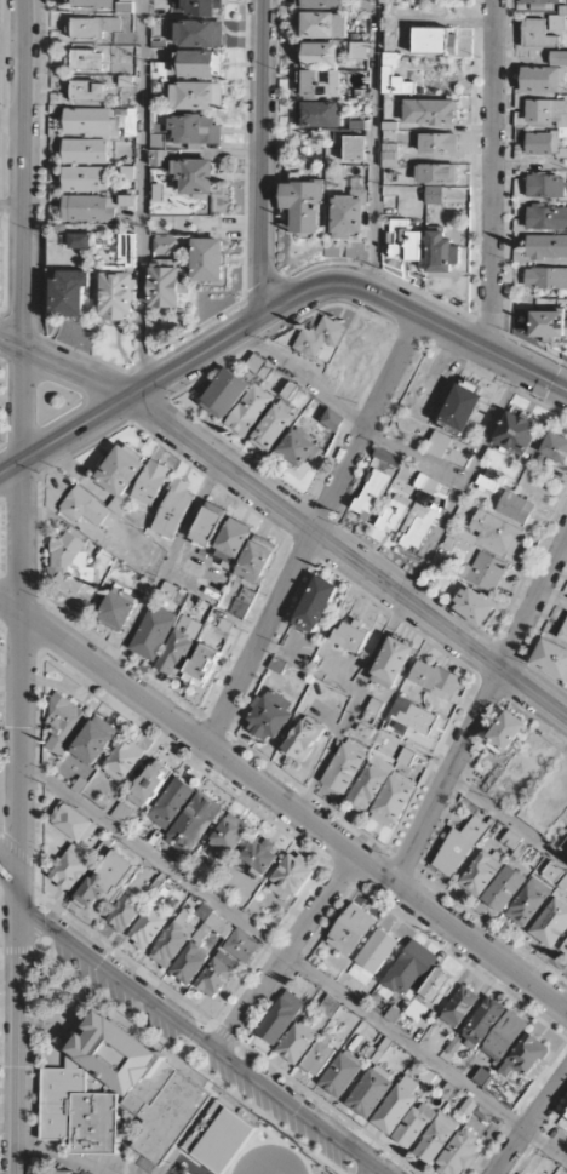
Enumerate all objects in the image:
building: (542, 1)
building: (319, 4)
building: (91, 5)
building: (361, 5)
building: (201, 7)
building: (557, 23)
building: (93, 25)
building: (321, 25)
building: (200, 33)
building: (538, 34)
building: (431, 41)
building: (359, 51)
building: (317, 56)
building: (85, 59)
building: (559, 59)
building: (199, 63)
building: (395, 80)
building: (542, 80)
building: (321, 84)
building: (88, 90)
building: (196, 96)
building: (430, 113)
building: (316, 115)
road: (11, 121)
building: (93, 122)
building: (562, 127)
building: (195, 131)
building: (437, 144)
road: (374, 147)
building: (354, 149)
building: (85, 151)
road: (263, 158)
building: (436, 174)
road: (494, 176)
building: (195, 177)
building: (85, 179)
building: (545, 187)
building: (357, 188)
road: (144, 195)
building: (434, 196)
building: (303, 206)
road: (10, 207)
building: (88, 208)
building: (346, 218)
building: (546, 219)
building: (78, 241)
building: (403, 242)
building: (546, 247)
building: (126, 250)
building: (442, 257)
building: (210, 262)
building: (546, 279)
building: (166, 286)
building: (70, 294)
building: (118, 294)
road: (276, 310)
building: (549, 325)
building: (320, 338)
building: (259, 366)
building: (225, 395)
park: (2, 400)
building: (250, 411)
building: (460, 411)
road: (348, 414)
building: (332, 420)
building: (271, 429)
building: (516, 435)
road: (22, 436)
building: (555, 447)
building: (299, 449)
building: (449, 451)
building: (389, 459)
building: (120, 476)
building: (151, 482)
building: (430, 488)
building: (372, 494)
building: (84, 508)
building: (515, 509)
building: (173, 510)
road: (291, 515)
building: (394, 515)
building: (208, 525)
building: (419, 526)
building: (457, 531)
road: (313, 532)
building: (494, 534)
building: (235, 538)
building: (254, 563)
building: (69, 566)
building: (483, 572)
road: (407, 589)
building: (242, 603)
building: (315, 603)
building: (475, 607)
building: (119, 609)
building: (153, 634)
building: (563, 634)
building: (351, 637)
building: (178, 646)
building: (551, 660)
building: (391, 664)
building: (202, 666)
building: (435, 680)
road: (480, 711)
building: (269, 716)
building: (409, 720)
building: (63, 725)
building: (505, 733)
building: (303, 739)
building: (94, 740)
building: (122, 761)
building: (344, 767)
building: (370, 784)
building: (149, 785)
building: (393, 801)
building: (171, 804)
road: (285, 804)
building: (121, 814)
road: (508, 820)
building: (74, 824)
building: (194, 824)
building: (229, 836)
building: (459, 847)
building: (563, 849)
building: (260, 857)
road: (8, 867)
building: (71, 869)
building: (552, 872)
building: (481, 874)
building: (291, 878)
building: (503, 889)
building: (114, 892)
road: (17, 895)
building: (527, 903)
building: (550, 923)
building: (148, 927)
building: (350, 930)
building: (172, 944)
building: (200, 946)
building: (241, 946)
building: (563, 949)
road: (286, 955)
building: (372, 957)
road: (293, 961)
building: (409, 972)
building: (217, 975)
building: (436, 986)
road: (565, 1006)
building: (330, 1008)
building: (459, 1008)
building: (280, 1019)
building: (482, 1024)
building: (504, 1037)
road: (201, 1042)
building: (297, 1042)
road: (15, 1046)
building: (319, 1055)
building: (525, 1058)
building: (340, 1075)
building: (481, 1078)
building: (370, 1093)
building: (396, 1106)
building: (566, 1116)
building: (413, 1126)
road: (532, 1126)
building: (435, 1139)
building: (458, 1153)
road: (61, 1156)
road: (373, 1170)
building: (57, 1172)

